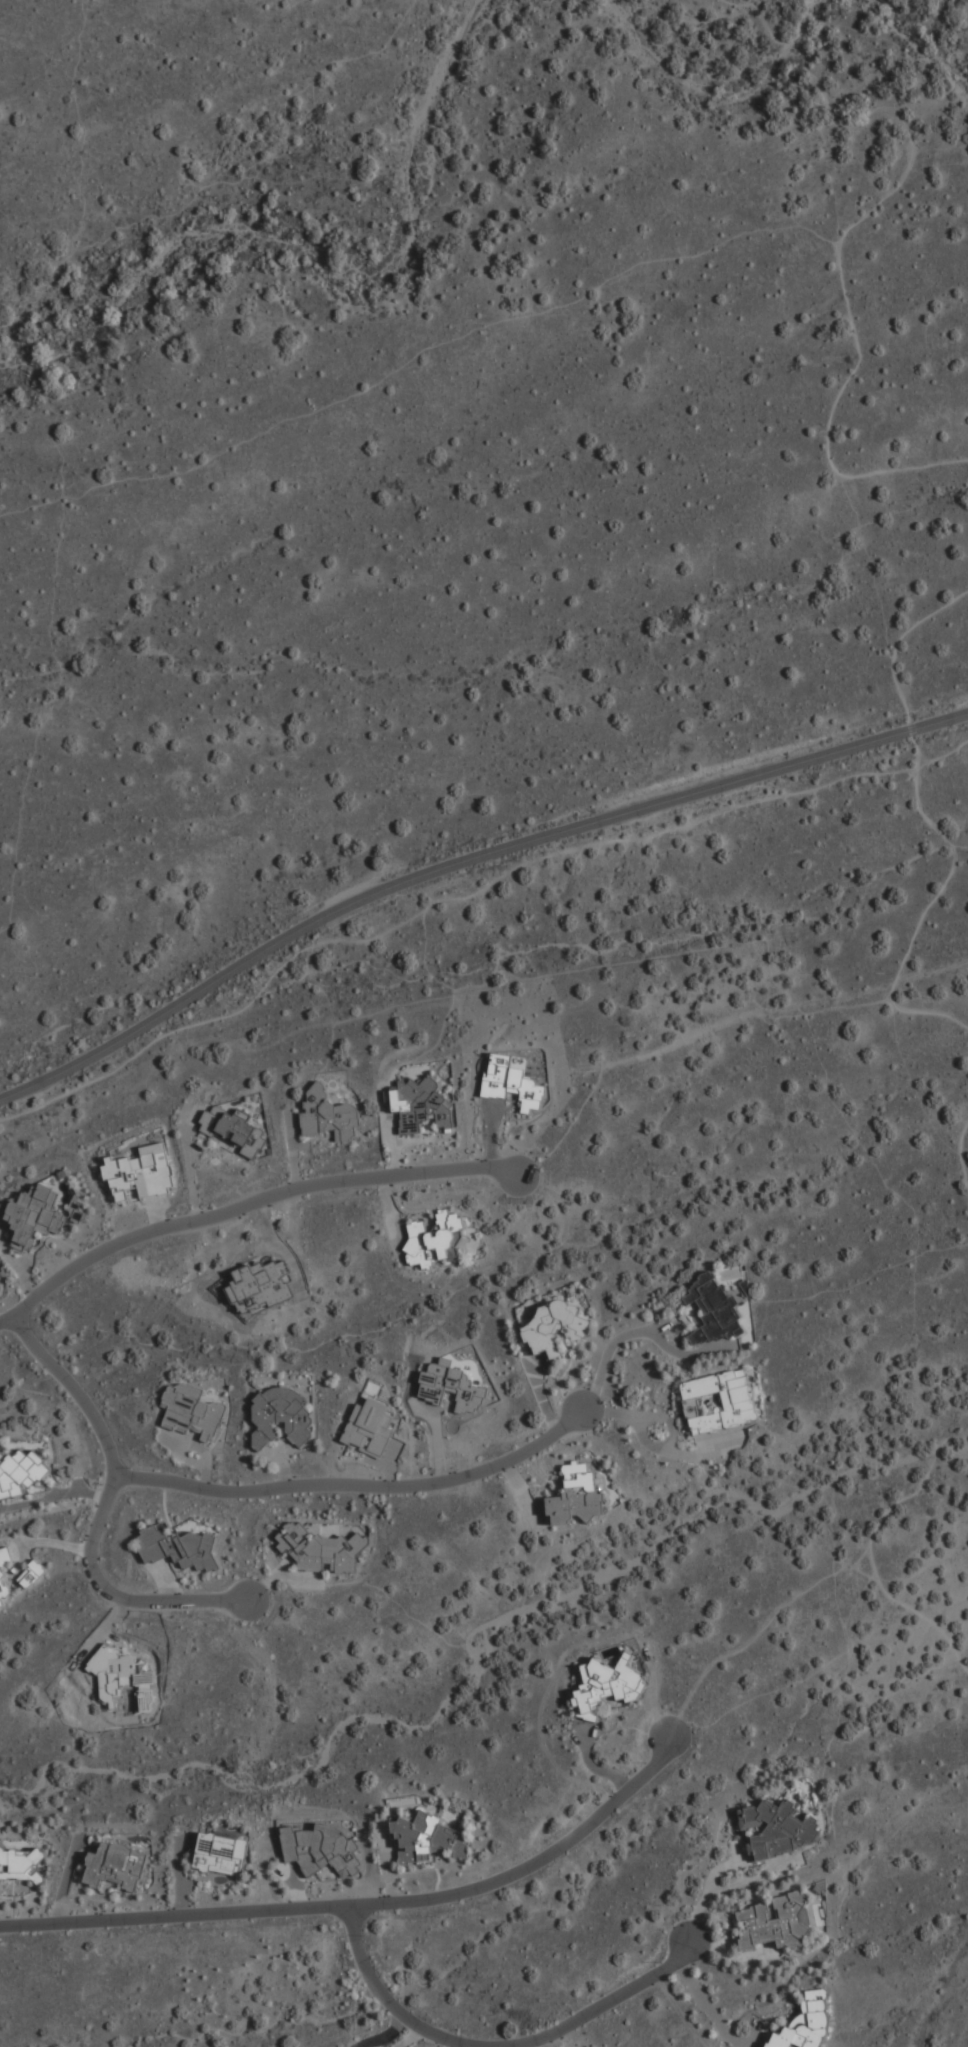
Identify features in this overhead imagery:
road: (860, 221)
road: (929, 825)
road: (464, 860)
road: (438, 899)
building: (510, 1084)
building: (418, 1105)
building: (327, 1116)
building: (232, 1130)
road: (958, 1159)
building: (140, 1172)
road: (244, 1206)
building: (75, 1214)
building: (33, 1215)
building: (433, 1239)
building: (711, 1310)
building: (553, 1327)
building: (449, 1387)
building: (718, 1401)
building: (190, 1411)
building: (279, 1416)
building: (368, 1427)
building: (19, 1472)
road: (355, 1490)
building: (575, 1496)
road: (99, 1515)
building: (178, 1547)
building: (320, 1550)
road: (870, 1550)
building: (30, 1575)
building: (1, 1576)
building: (605, 1685)
building: (775, 1829)
building: (424, 1838)
building: (320, 1849)
building: (220, 1854)
building: (21, 1865)
building: (114, 1866)
road: (706, 1892)
road: (364, 1905)
building: (774, 1922)
road: (730, 1957)
road: (713, 2013)
building: (804, 2024)
road: (497, 2046)

